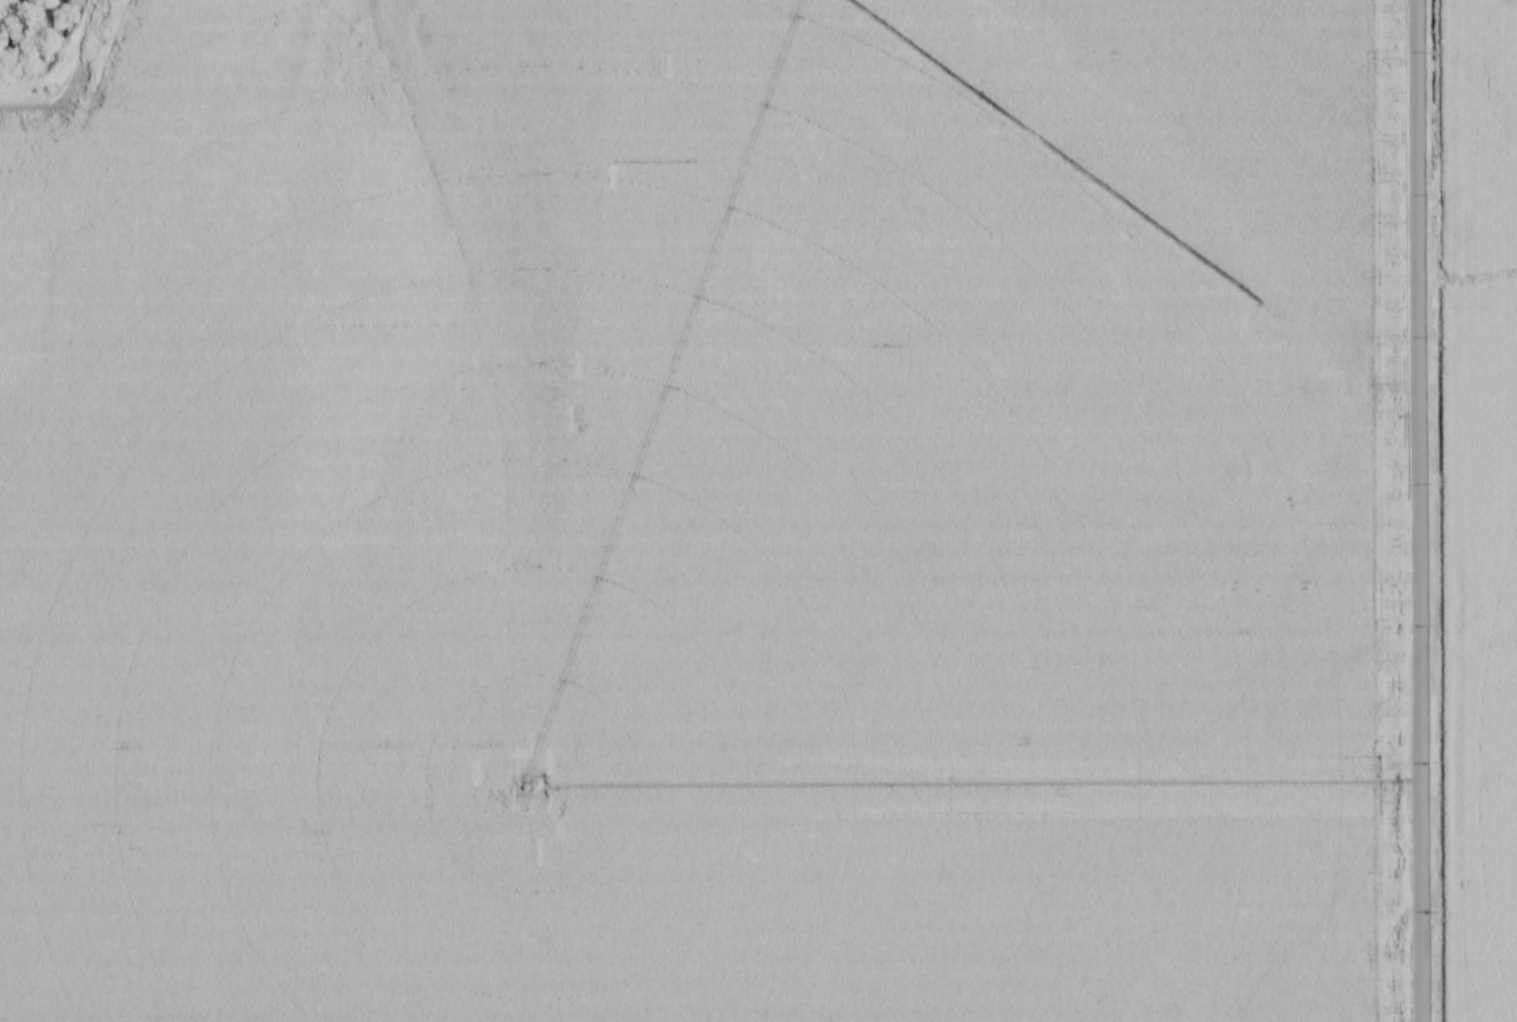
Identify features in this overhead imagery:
road: (1418, 510)

